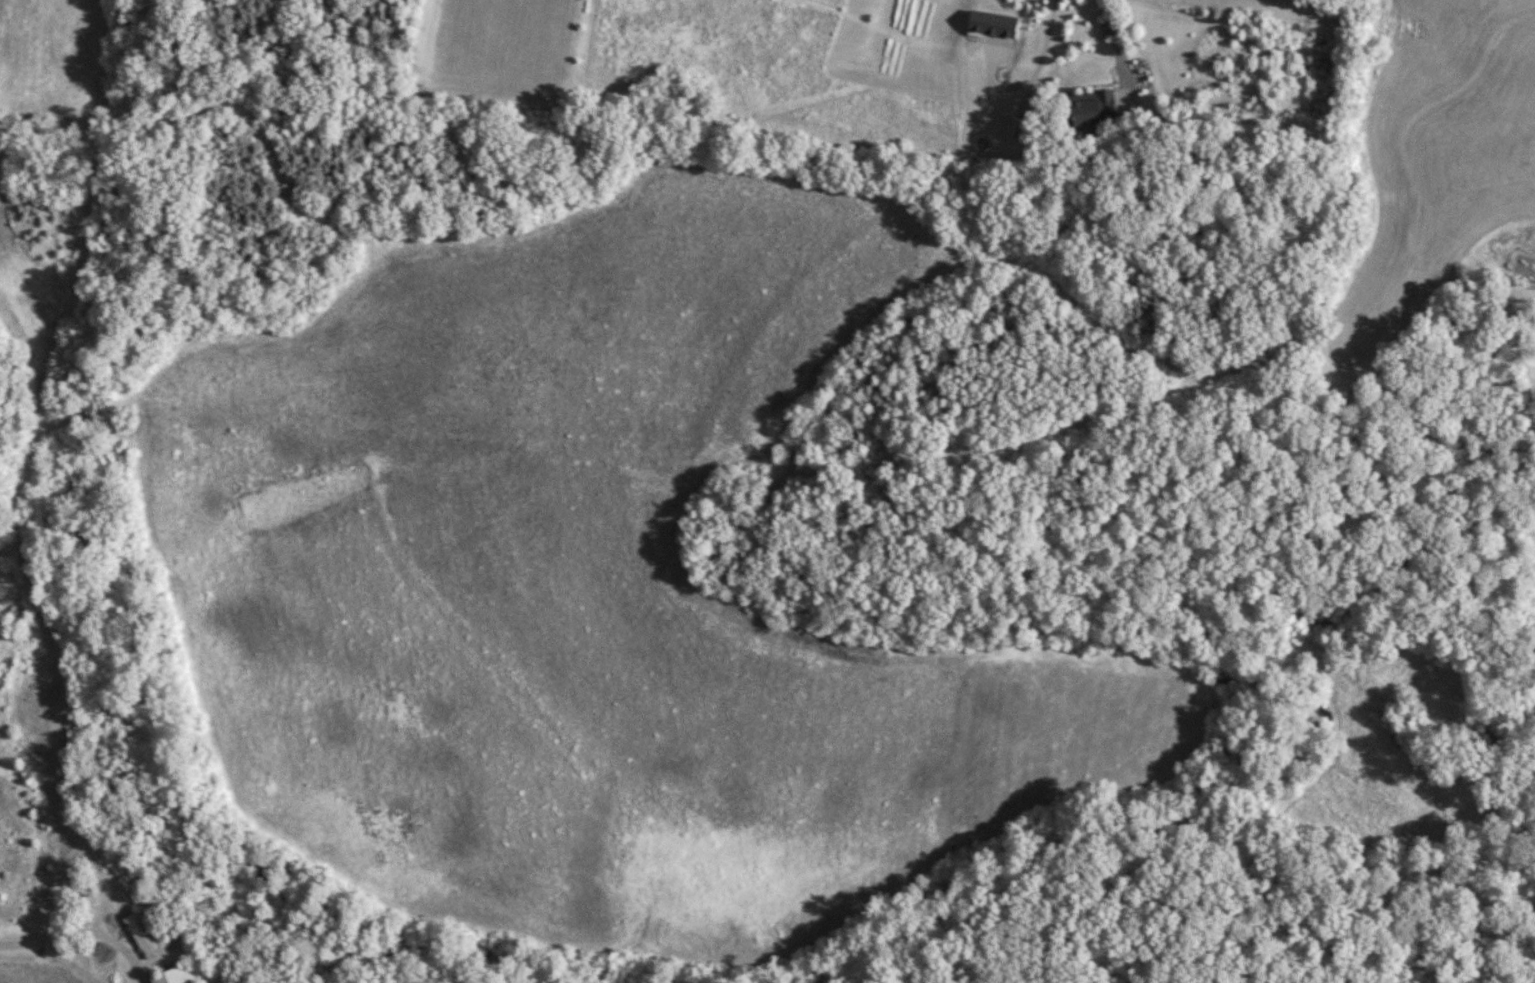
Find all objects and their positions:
road: (1117, 45)
road: (1032, 76)
building: (1096, 108)
road: (79, 931)
building: (144, 934)
building: (178, 974)

